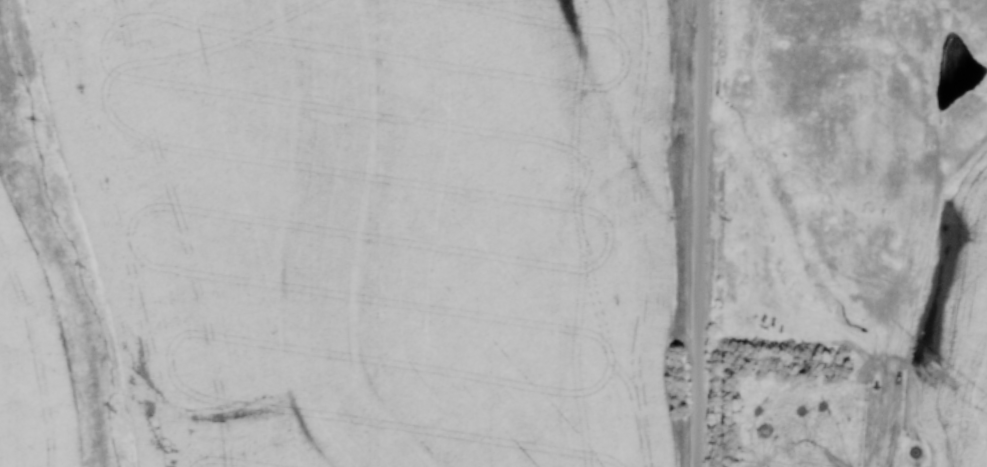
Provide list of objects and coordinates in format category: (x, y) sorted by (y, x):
road: (701, 233)

